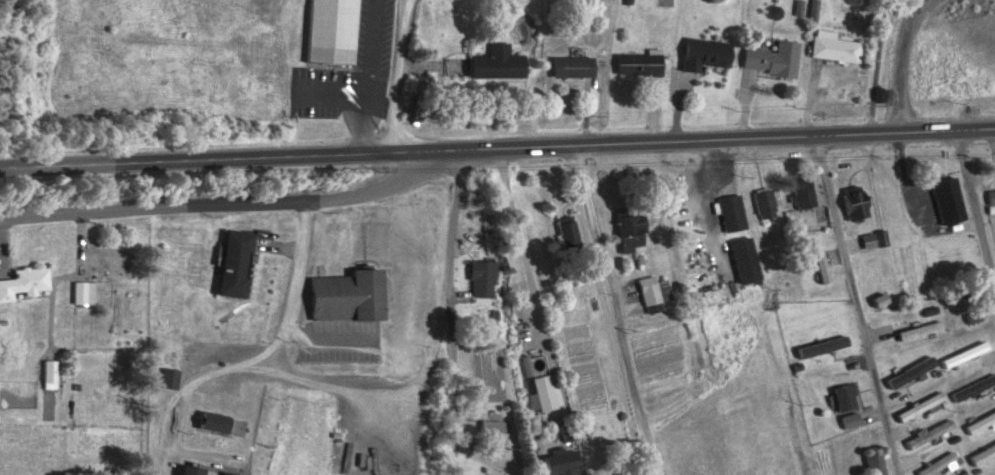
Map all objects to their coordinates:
building: (328, 32)
building: (832, 47)
building: (770, 59)
building: (495, 64)
building: (636, 64)
building: (570, 67)
road: (396, 76)
road: (731, 143)
road: (234, 160)
building: (802, 193)
building: (935, 196)
building: (990, 199)
road: (221, 203)
building: (763, 204)
building: (853, 205)
road: (976, 207)
building: (730, 213)
building: (629, 230)
building: (567, 235)
building: (743, 261)
building: (232, 265)
building: (820, 267)
building: (479, 280)
building: (23, 283)
building: (651, 293)
building: (83, 294)
building: (344, 297)
building: (878, 301)
road: (857, 308)
road: (613, 311)
road: (448, 312)
building: (918, 331)
road: (277, 341)
building: (827, 352)
building: (962, 355)
building: (47, 372)
building: (909, 373)
building: (166, 379)
building: (544, 394)
building: (844, 398)
building: (918, 407)
building: (210, 423)
building: (977, 425)
building: (492, 433)
building: (565, 433)
building: (982, 455)
building: (558, 463)
building: (872, 464)
building: (936, 465)
building: (187, 471)
building: (223, 474)

